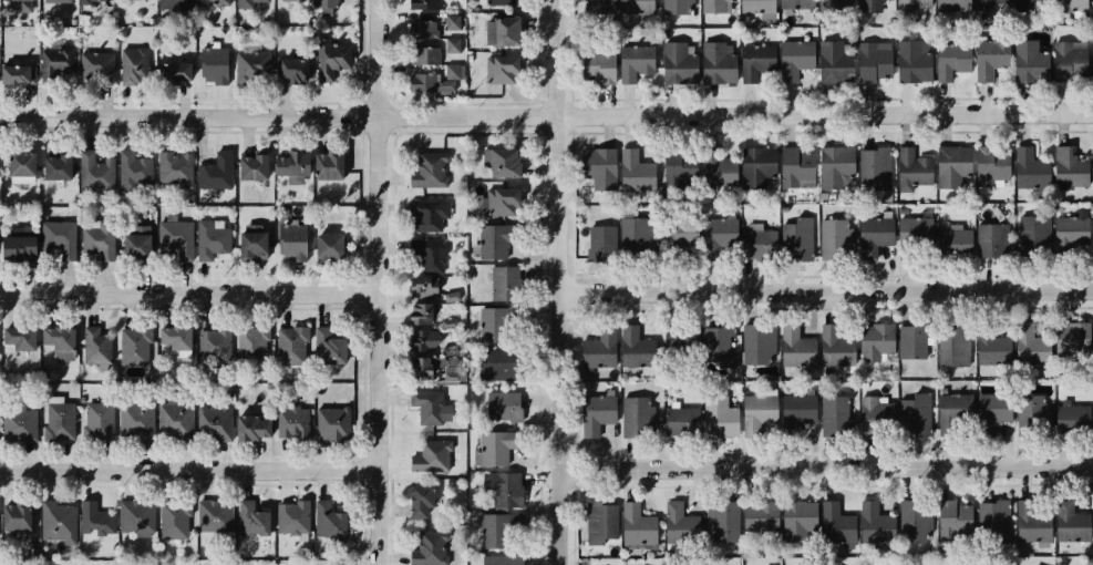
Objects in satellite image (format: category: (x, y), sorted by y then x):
building: (291, 0)
building: (56, 1)
building: (92, 1)
building: (251, 1)
building: (499, 1)
building: (212, 2)
building: (791, 2)
building: (832, 2)
building: (174, 3)
building: (866, 3)
building: (24, 4)
building: (432, 4)
building: (715, 4)
building: (910, 4)
building: (950, 4)
building: (1029, 4)
building: (1069, 4)
building: (595, 6)
building: (633, 6)
building: (990, 6)
building: (1092, 6)
building: (322, 7)
building: (674, 7)
building: (755, 8)
building: (431, 24)
building: (496, 28)
building: (432, 48)
building: (425, 55)
building: (793, 58)
building: (910, 58)
building: (331, 60)
building: (632, 61)
building: (870, 61)
building: (949, 61)
building: (1066, 61)
building: (755, 62)
building: (249, 63)
building: (832, 63)
building: (989, 63)
building: (1027, 63)
building: (594, 64)
building: (671, 64)
building: (714, 64)
building: (212, 65)
building: (55, 66)
building: (95, 66)
building: (133, 66)
building: (288, 66)
building: (171, 70)
building: (499, 70)
building: (18, 73)
building: (1092, 76)
building: (433, 80)
road: (546, 116)
building: (498, 160)
building: (595, 162)
building: (288, 163)
building: (53, 164)
building: (18, 165)
building: (248, 165)
building: (323, 165)
building: (671, 165)
building: (950, 165)
building: (714, 166)
building: (755, 166)
building: (990, 166)
building: (794, 167)
building: (834, 167)
building: (910, 167)
building: (94, 168)
building: (426, 168)
building: (633, 168)
building: (133, 169)
building: (174, 169)
building: (873, 169)
building: (1027, 169)
building: (214, 171)
building: (1066, 172)
building: (498, 201)
building: (426, 215)
building: (915, 233)
building: (797, 235)
building: (872, 236)
building: (1029, 236)
building: (1070, 236)
building: (59, 237)
building: (174, 237)
building: (677, 237)
building: (754, 237)
building: (636, 238)
building: (716, 238)
building: (833, 239)
building: (990, 239)
building: (96, 240)
building: (210, 240)
building: (246, 240)
building: (491, 240)
building: (18, 242)
building: (136, 242)
building: (288, 243)
building: (599, 243)
building: (950, 244)
building: (323, 247)
building: (427, 254)
building: (503, 281)
road: (382, 282)
road: (563, 282)
building: (423, 286)
road: (828, 288)
road: (192, 292)
building: (451, 296)
building: (423, 314)
building: (448, 322)
building: (491, 322)
building: (21, 337)
building: (60, 337)
building: (177, 337)
building: (672, 337)
building: (424, 339)
building: (132, 341)
building: (251, 341)
building: (834, 341)
building: (874, 341)
building: (909, 341)
building: (1070, 341)
building: (756, 342)
building: (94, 345)
building: (793, 345)
building: (951, 345)
building: (1027, 345)
building: (328, 346)
building: (208, 347)
building: (292, 347)
building: (597, 347)
building: (631, 347)
building: (713, 347)
building: (444, 349)
building: (989, 350)
building: (496, 363)
building: (425, 364)
building: (80, 398)
building: (504, 405)
building: (425, 407)
building: (796, 409)
building: (991, 410)
building: (1032, 410)
building: (836, 411)
building: (952, 412)
building: (594, 413)
building: (756, 414)
building: (914, 414)
building: (636, 417)
building: (1070, 417)
building: (714, 418)
building: (880, 419)
building: (96, 420)
building: (172, 420)
building: (330, 420)
building: (17, 421)
building: (133, 421)
building: (290, 421)
building: (59, 422)
building: (209, 423)
building: (673, 423)
building: (248, 425)
building: (492, 449)
building: (430, 454)
road: (828, 465)
road: (190, 471)
building: (501, 490)
building: (419, 501)
building: (12, 514)
building: (249, 515)
building: (174, 516)
building: (214, 516)
building: (912, 516)
building: (94, 517)
building: (289, 517)
building: (796, 517)
building: (133, 518)
building: (757, 518)
building: (1032, 520)
building: (1071, 520)
building: (326, 521)
building: (720, 521)
building: (836, 521)
building: (955, 521)
building: (54, 522)
building: (992, 523)
building: (598, 524)
building: (873, 524)
building: (679, 525)
building: (636, 526)
building: (497, 532)
building: (425, 547)
building: (498, 561)
building: (966, 563)

